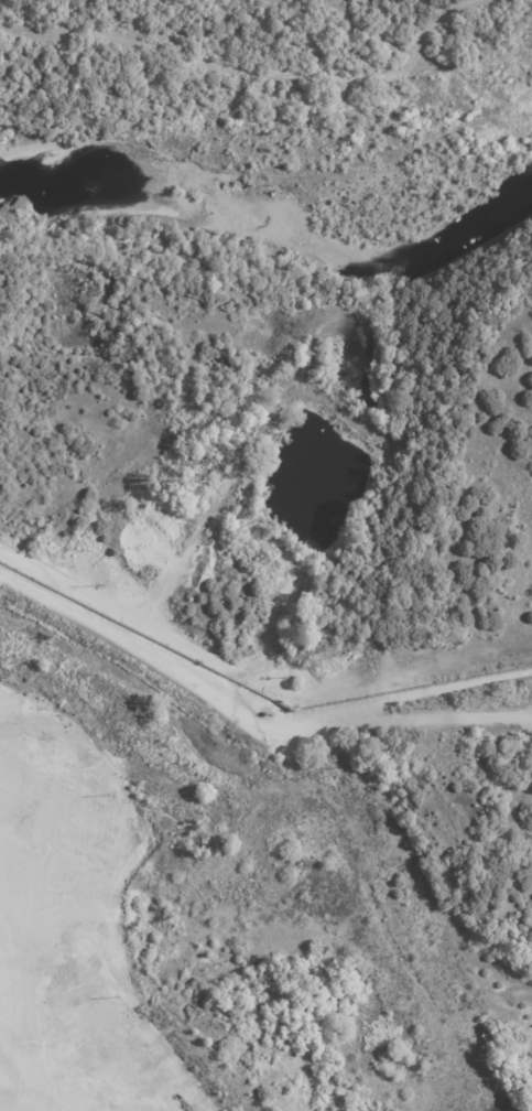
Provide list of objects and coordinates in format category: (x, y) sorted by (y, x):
building: (127, 1025)

